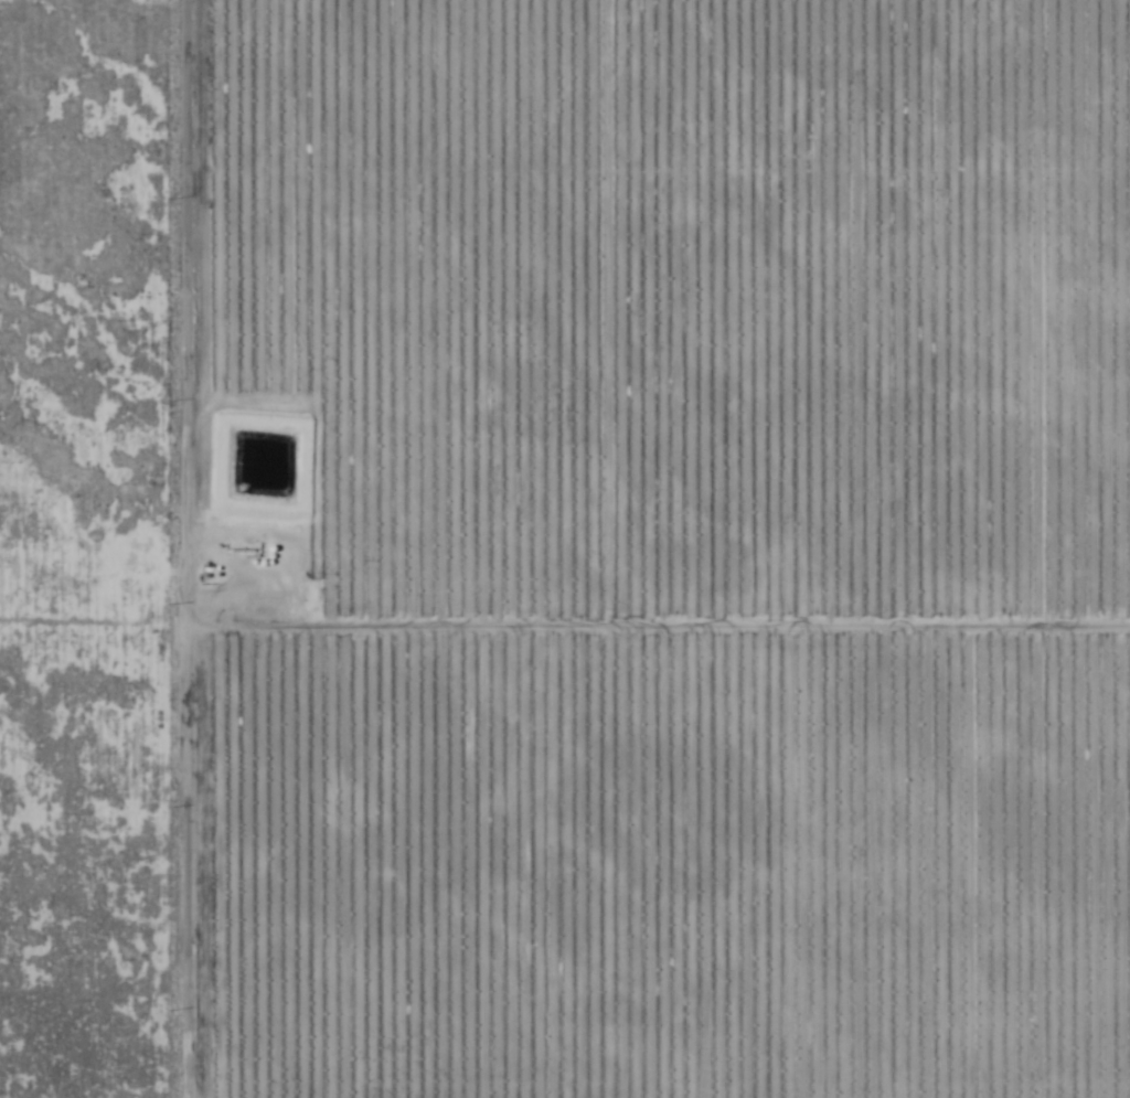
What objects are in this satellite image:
road: (174, 548)

